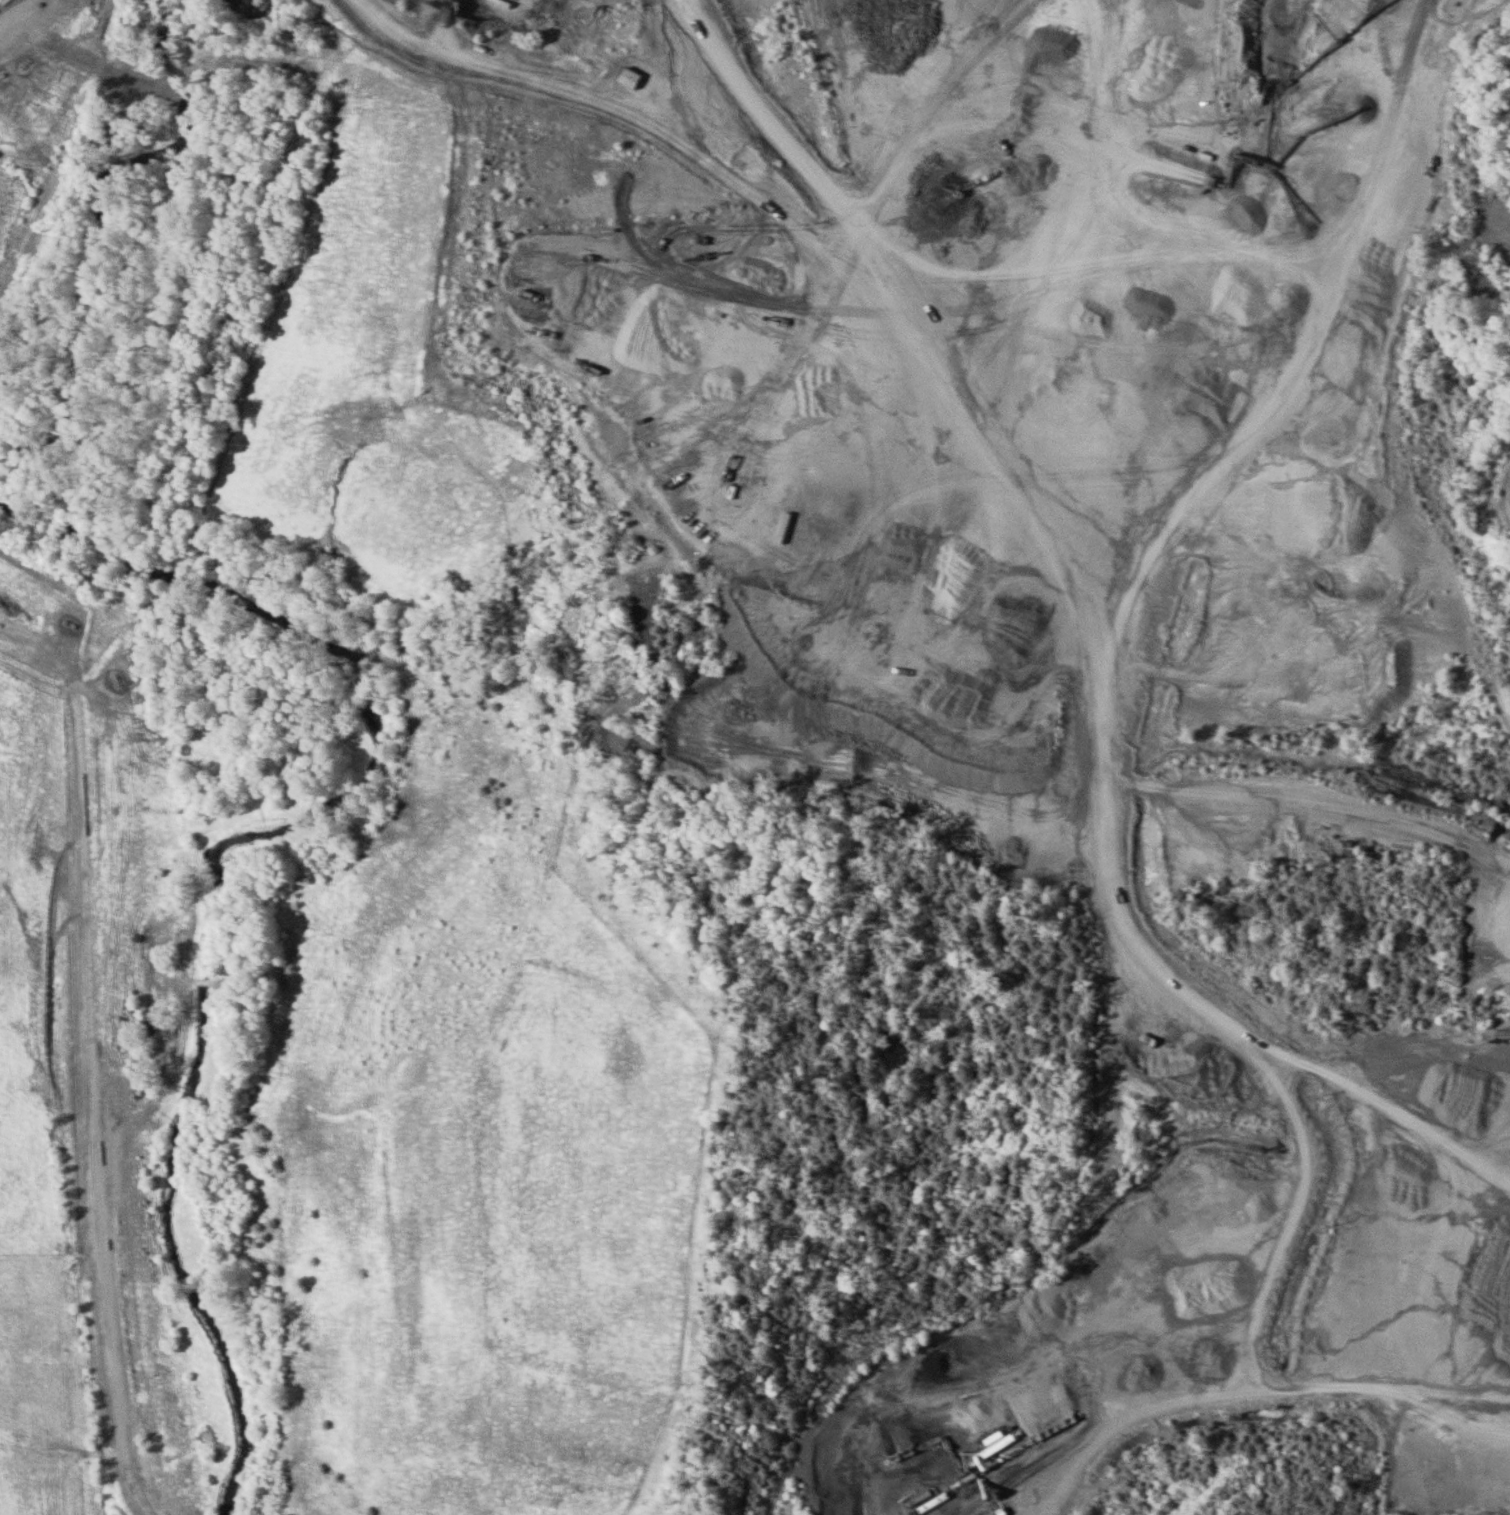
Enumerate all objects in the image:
road: (468, 79)
building: (632, 79)
road: (50, 128)
road: (750, 702)
road: (91, 1027)
road: (1253, 1391)
building: (998, 1436)

